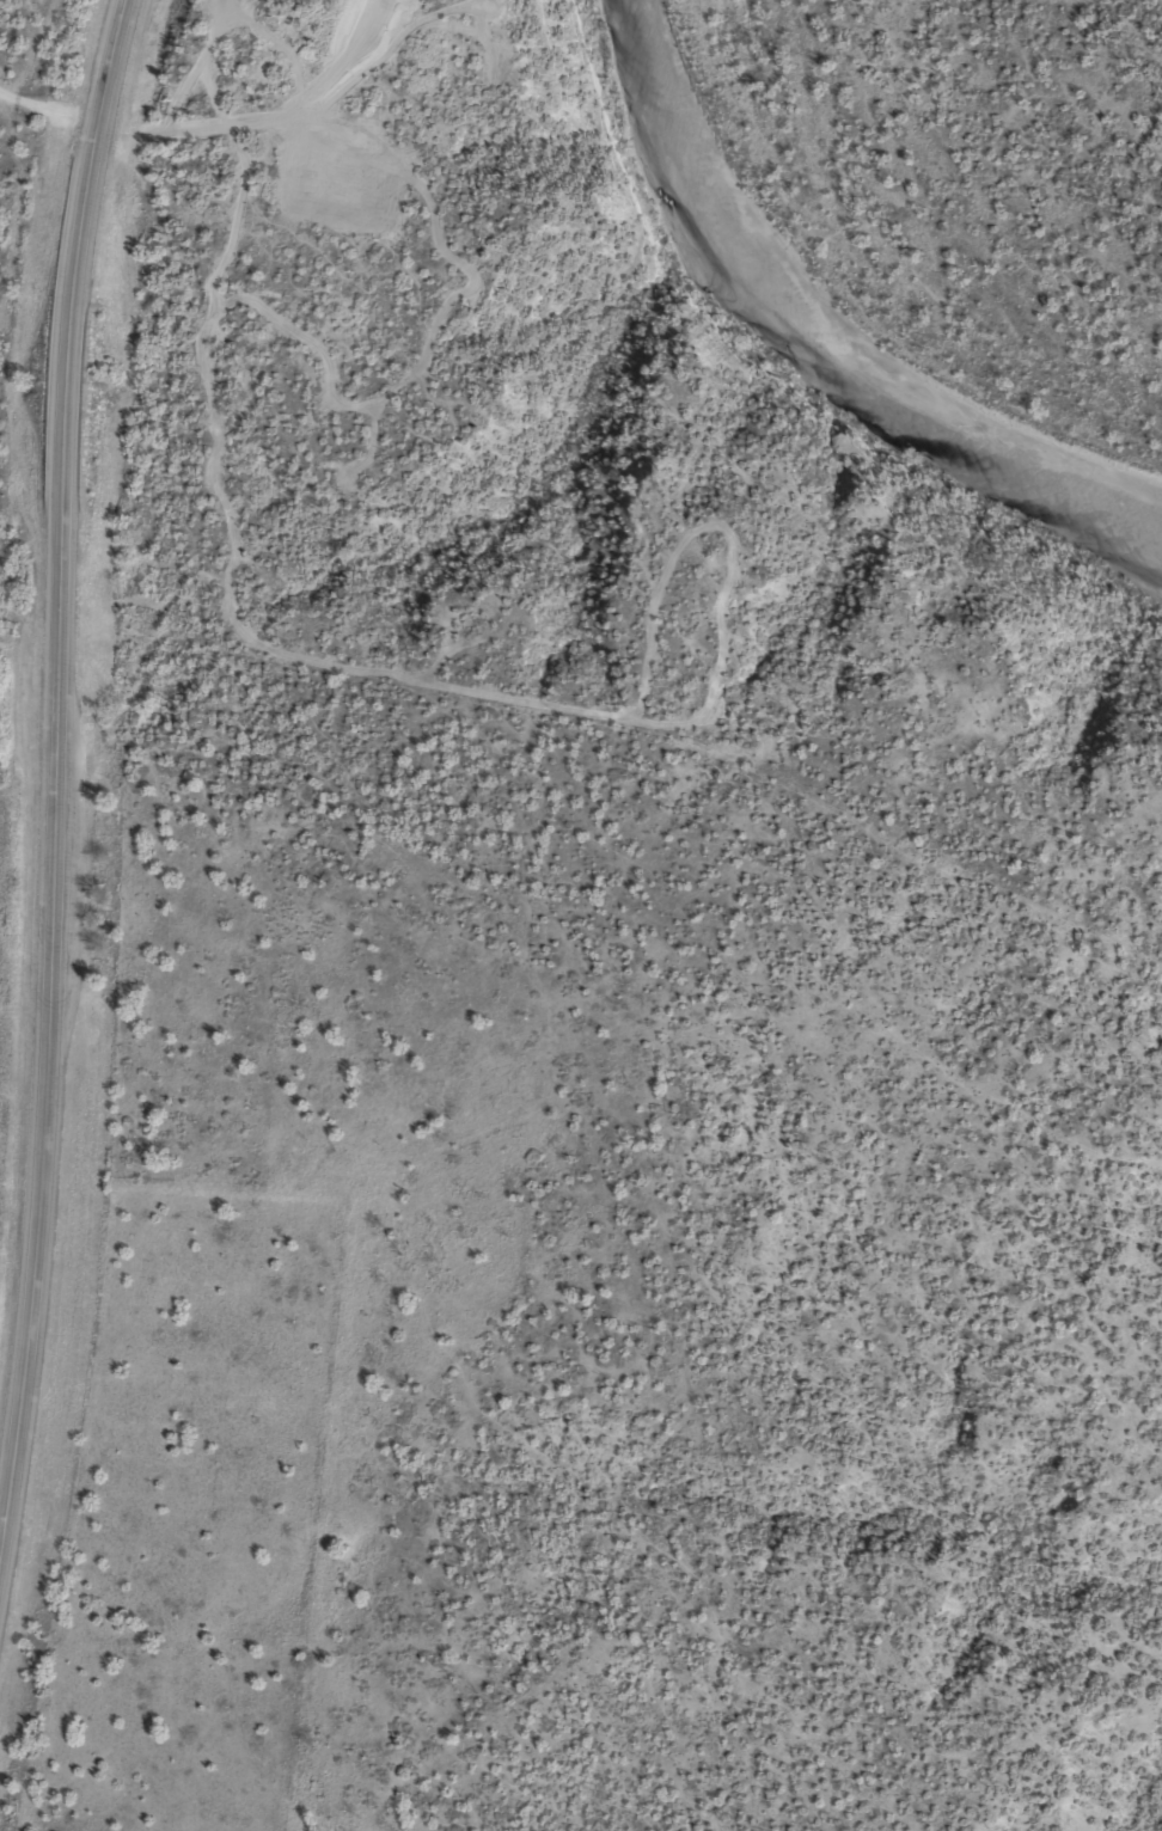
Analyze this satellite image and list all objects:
river: (817, 343)
road: (57, 774)

